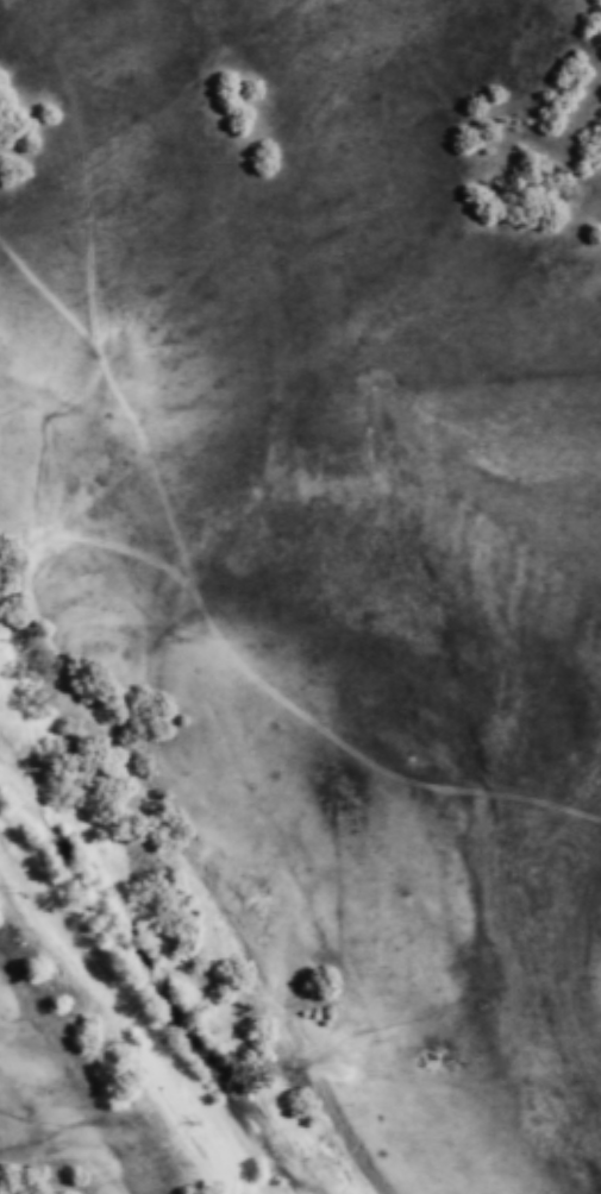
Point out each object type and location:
river: (139, 1007)

